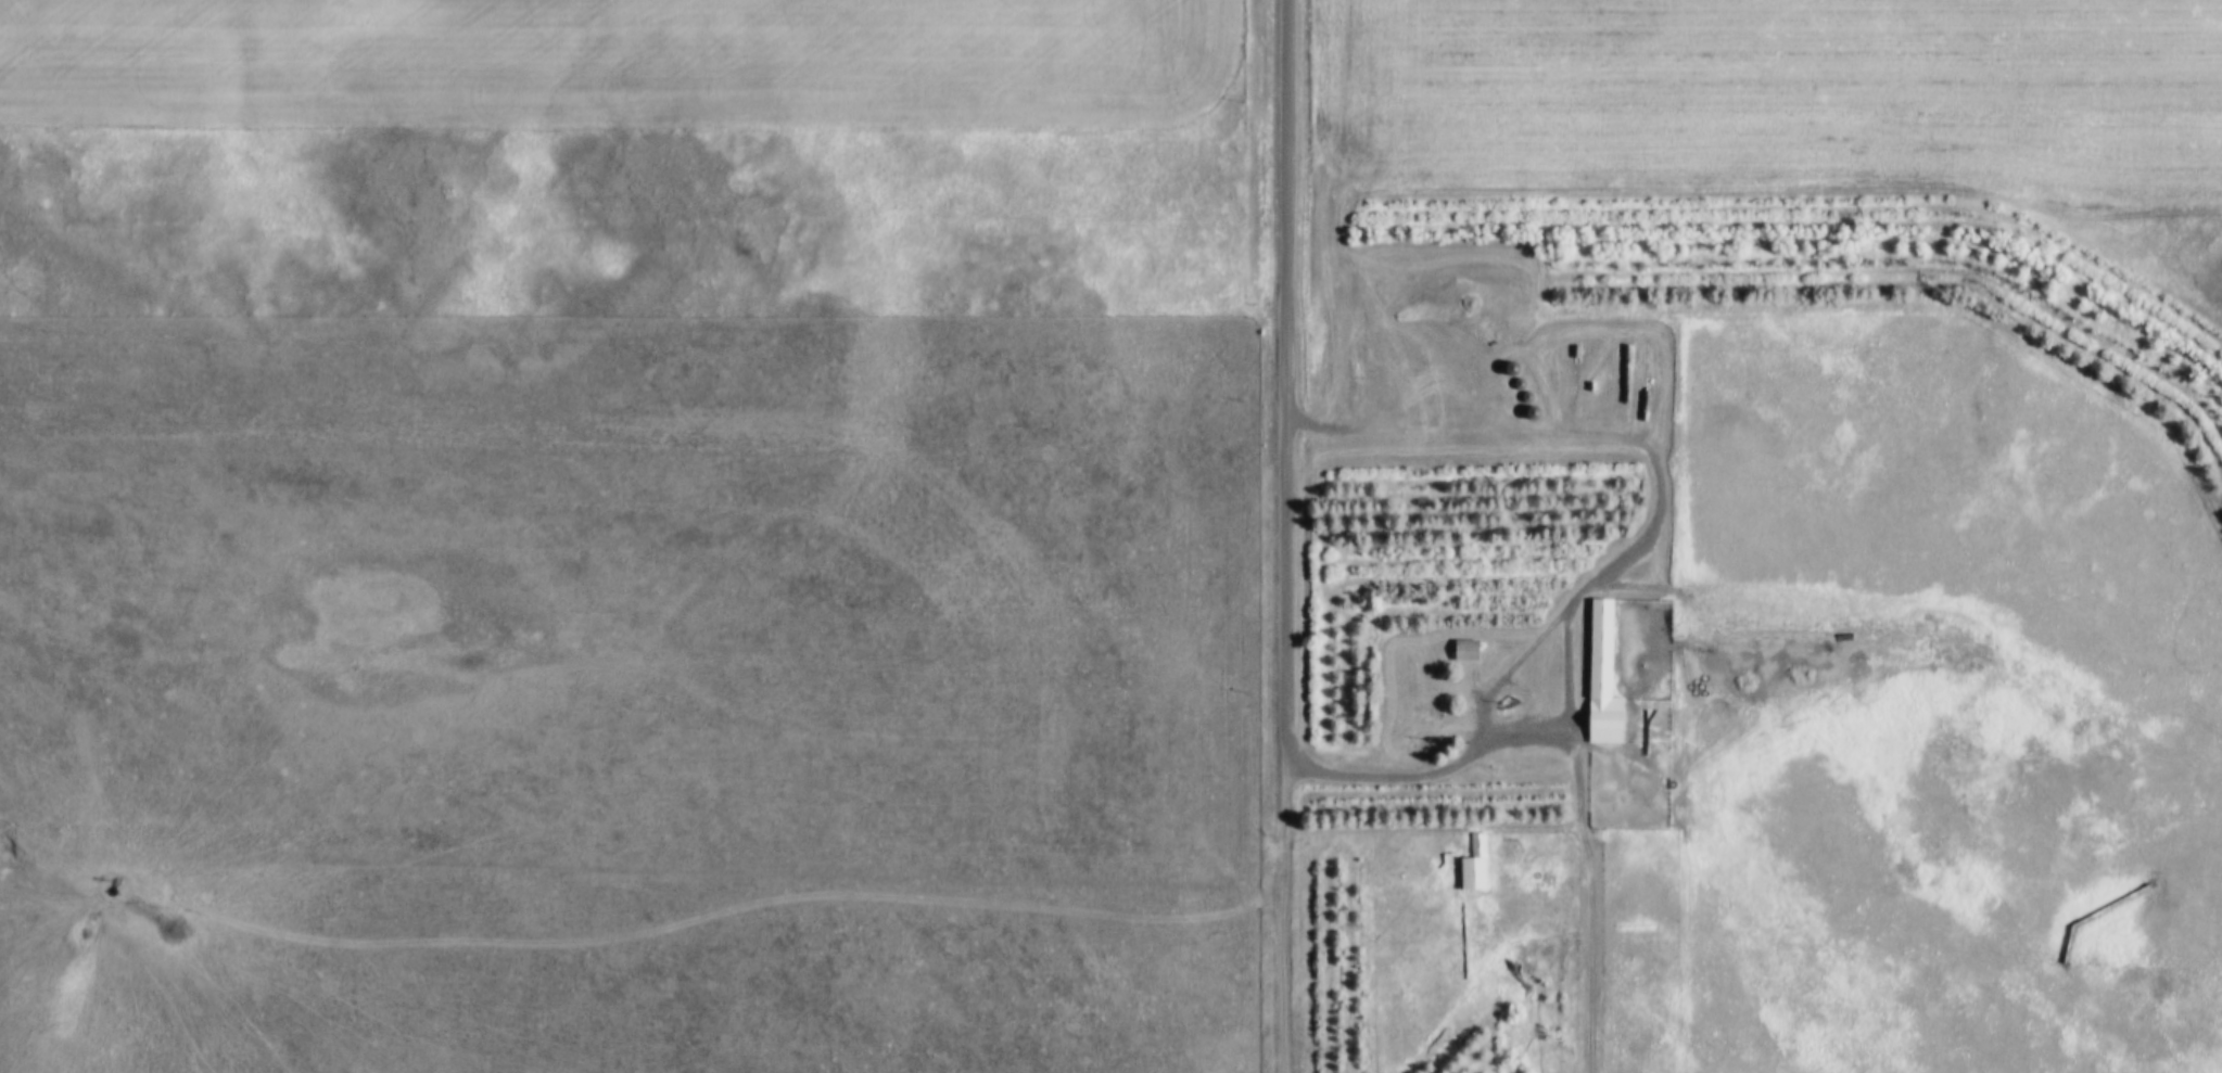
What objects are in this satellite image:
road: (1288, 384)
road: (1536, 651)
building: (1466, 652)
building: (1602, 678)
road: (1588, 858)
building: (1474, 866)
road: (1277, 920)

